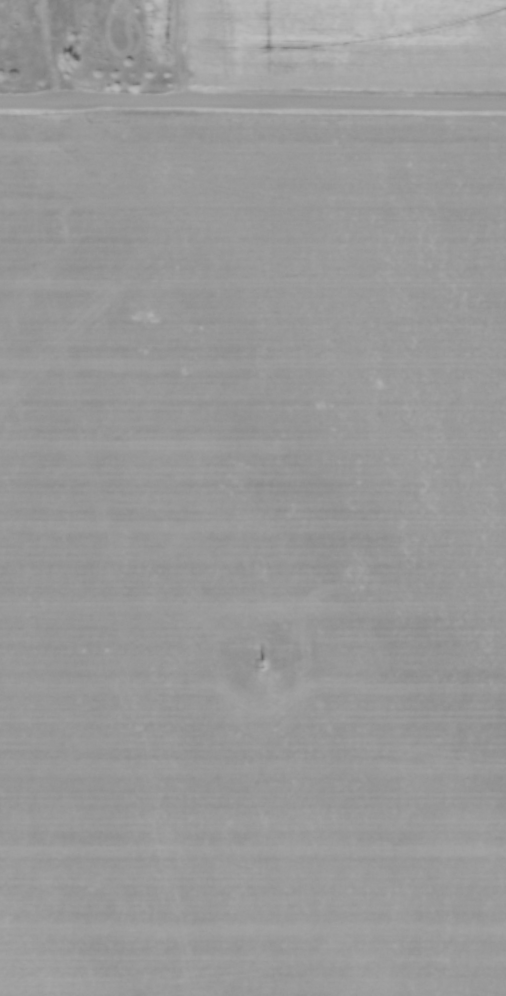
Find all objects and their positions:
crop: (338, 43)
road: (61, 51)
road: (252, 104)
crop: (252, 556)
power tower: (261, 663)

